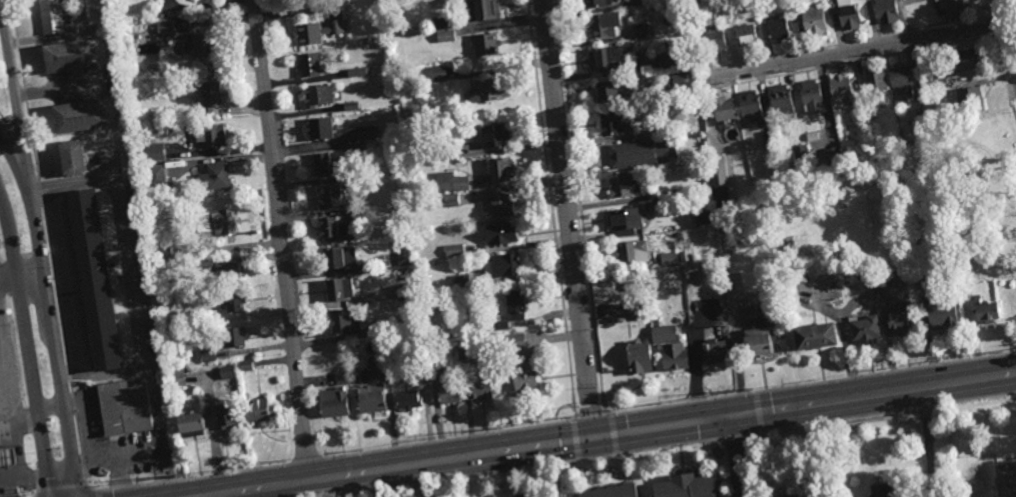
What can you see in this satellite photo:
building: (595, 3)
building: (705, 3)
building: (950, 6)
building: (760, 9)
building: (481, 10)
building: (886, 11)
building: (703, 13)
building: (848, 14)
building: (51, 16)
building: (727, 16)
building: (813, 21)
building: (443, 23)
building: (602, 26)
building: (777, 27)
building: (642, 30)
building: (317, 31)
road: (1008, 33)
building: (745, 34)
building: (446, 35)
building: (715, 38)
building: (187, 40)
building: (486, 44)
road: (858, 49)
building: (72, 56)
building: (608, 57)
building: (672, 59)
building: (691, 60)
building: (963, 60)
building: (309, 64)
building: (358, 71)
building: (439, 73)
building: (900, 80)
building: (938, 81)
building: (679, 82)
building: (875, 82)
building: (840, 88)
building: (696, 89)
building: (486, 90)
building: (610, 91)
building: (316, 95)
building: (810, 96)
building: (205, 97)
building: (969, 98)
building: (781, 99)
building: (934, 99)
building: (882, 104)
road: (11, 105)
building: (351, 105)
building: (752, 108)
building: (859, 110)
building: (723, 111)
building: (645, 112)
building: (920, 112)
building: (78, 116)
building: (859, 120)
building: (610, 123)
building: (318, 128)
building: (367, 132)
building: (211, 134)
building: (494, 135)
building: (802, 137)
building: (769, 139)
building: (354, 148)
building: (855, 151)
building: (154, 152)
building: (446, 152)
building: (640, 153)
building: (801, 155)
building: (832, 155)
building: (70, 159)
building: (325, 165)
building: (499, 170)
building: (717, 171)
building: (155, 175)
building: (214, 177)
building: (364, 181)
building: (450, 182)
building: (620, 187)
road: (71, 189)
building: (674, 193)
building: (329, 196)
building: (449, 200)
building: (706, 201)
building: (499, 205)
building: (703, 217)
road: (566, 219)
building: (624, 220)
building: (215, 222)
building: (335, 228)
building: (399, 229)
building: (500, 234)
road: (281, 241)
building: (454, 250)
building: (628, 251)
building: (160, 252)
building: (403, 254)
building: (336, 257)
building: (667, 258)
building: (683, 259)
building: (205, 263)
building: (500, 265)
building: (226, 274)
road: (127, 275)
road: (6, 280)
building: (461, 281)
building: (909, 281)
building: (95, 282)
building: (631, 285)
building: (339, 290)
building: (405, 291)
building: (636, 294)
building: (232, 301)
building: (515, 304)
building: (635, 310)
building: (984, 311)
road: (46, 313)
building: (941, 315)
building: (207, 318)
building: (168, 319)
building: (676, 320)
building: (343, 322)
building: (409, 322)
building: (900, 322)
building: (500, 324)
building: (756, 325)
building: (864, 331)
building: (663, 334)
building: (234, 336)
building: (814, 339)
building: (512, 341)
building: (356, 345)
building: (465, 351)
power tower: (1001, 351)
road: (25, 352)
building: (714, 352)
building: (207, 355)
building: (431, 356)
building: (639, 357)
building: (420, 358)
building: (674, 358)
power tower: (939, 361)
building: (244, 365)
power tower: (886, 369)
building: (225, 372)
road: (99, 375)
building: (358, 375)
building: (174, 377)
building: (341, 377)
building: (525, 377)
power tower: (814, 381)
building: (479, 388)
building: (448, 391)
power tower: (747, 392)
building: (370, 397)
building: (408, 399)
building: (332, 402)
power tower: (668, 403)
building: (123, 406)
building: (257, 410)
power tower: (616, 412)
road: (17, 417)
building: (226, 417)
traffic signals: (736, 417)
power tower: (569, 419)
building: (190, 422)
road: (663, 428)
power tower: (504, 429)
traffic signals: (592, 439)
power tower: (434, 441)
power tower: (362, 451)
road: (814, 451)
building: (7, 455)
road: (738, 457)
power tower: (282, 460)
power tower: (178, 473)
building: (1004, 481)
road: (366, 485)
building: (683, 487)
road: (260, 489)
building: (881, 491)
building: (610, 492)
road: (233, 495)
building: (515, 496)
building: (519, 496)
building: (786, 496)

